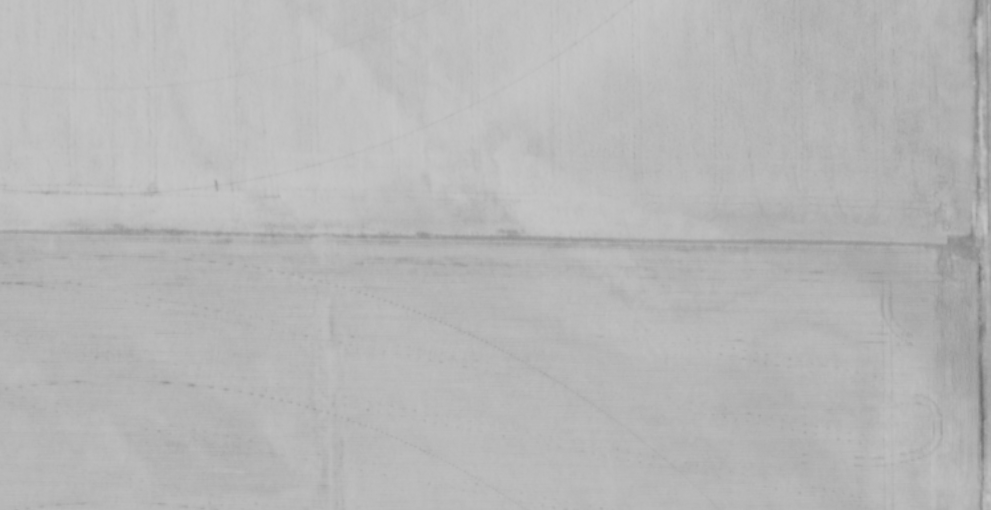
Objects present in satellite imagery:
road: (990, 40)

